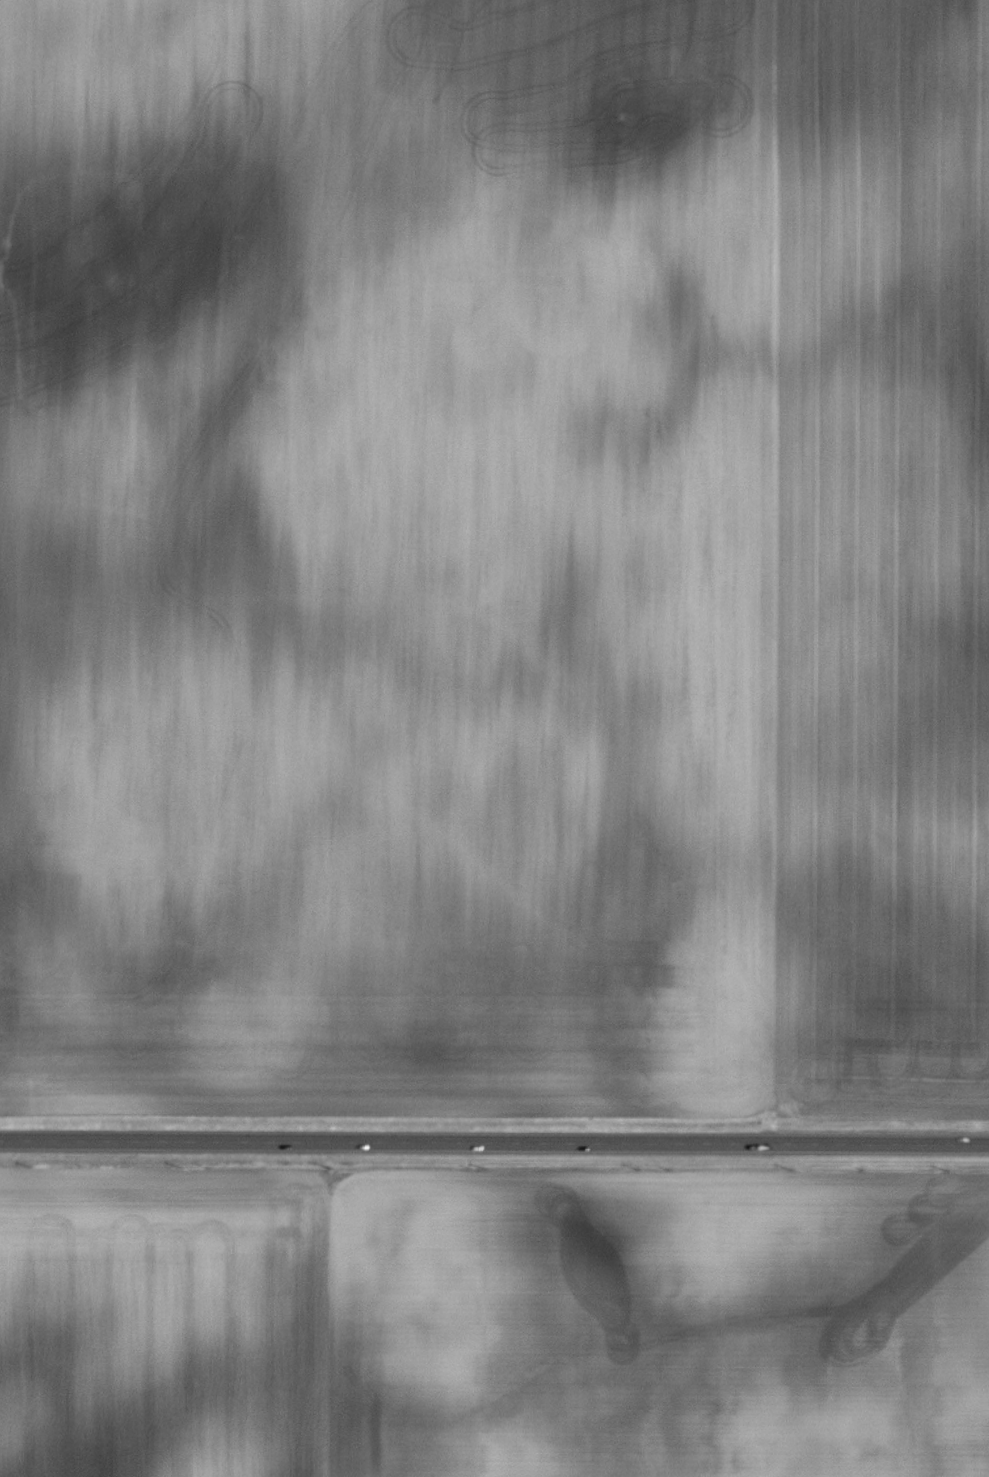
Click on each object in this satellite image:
road: (494, 1144)

